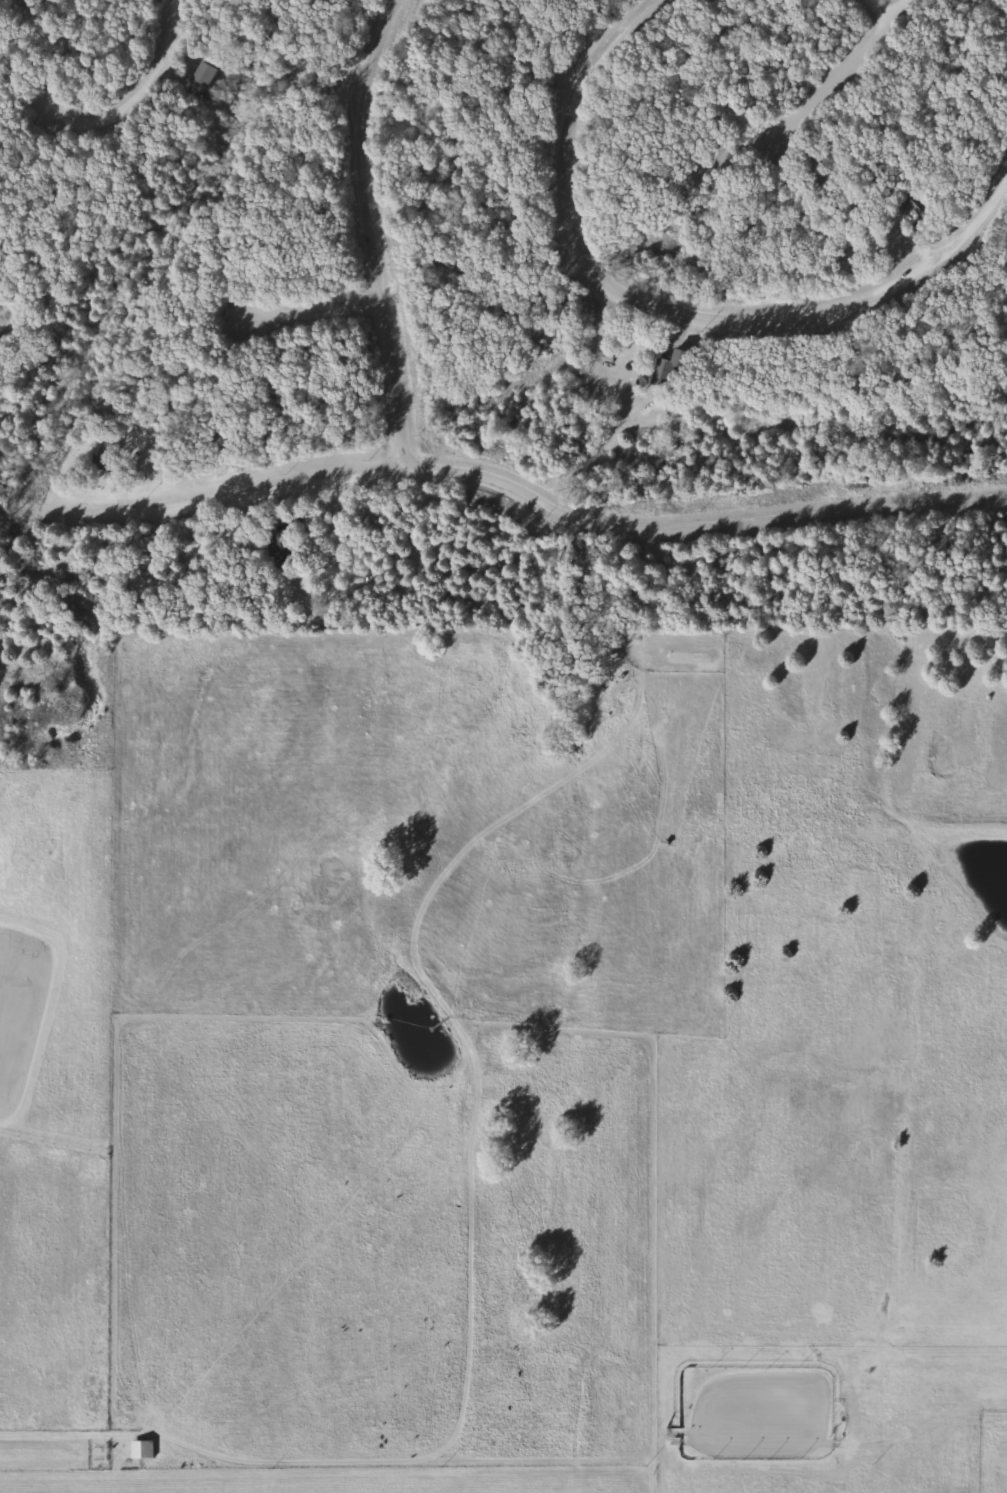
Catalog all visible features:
road: (883, 6)
road: (839, 65)
building: (210, 74)
road: (140, 87)
road: (368, 232)
road: (663, 306)
road: (329, 336)
road: (19, 351)
building: (674, 369)
building: (108, 455)
road: (203, 503)
road: (701, 530)
building: (284, 549)
building: (142, 1449)

